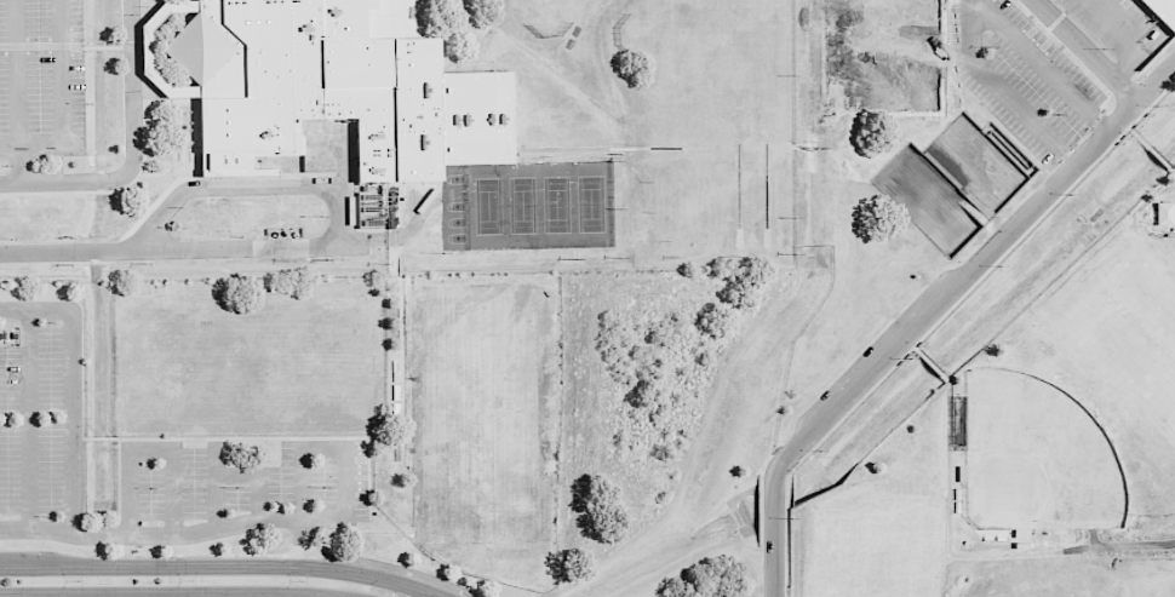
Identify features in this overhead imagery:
park: (846, 0)
park: (881, 1)
park: (915, 1)
building: (1162, 11)
road: (1129, 38)
road: (1087, 51)
parking lot: (1049, 63)
road: (1043, 64)
park: (882, 67)
park: (847, 68)
park: (915, 68)
road: (16, 91)
road: (1003, 91)
road: (59, 92)
building: (332, 93)
road: (8, 143)
road: (132, 151)
road: (340, 201)
park: (556, 203)
park: (590, 203)
park: (523, 205)
park: (488, 206)
building: (275, 214)
building: (210, 220)
road: (69, 251)
road: (929, 311)
park: (1128, 329)
building: (8, 335)
road: (28, 419)
road: (322, 447)
road: (149, 448)
park: (1039, 457)
parking lot: (147, 458)
road: (258, 475)
road: (216, 486)
road: (73, 521)
road: (36, 529)
road: (302, 541)
park: (876, 564)
road: (220, 567)
park: (1144, 576)
road: (174, 593)

